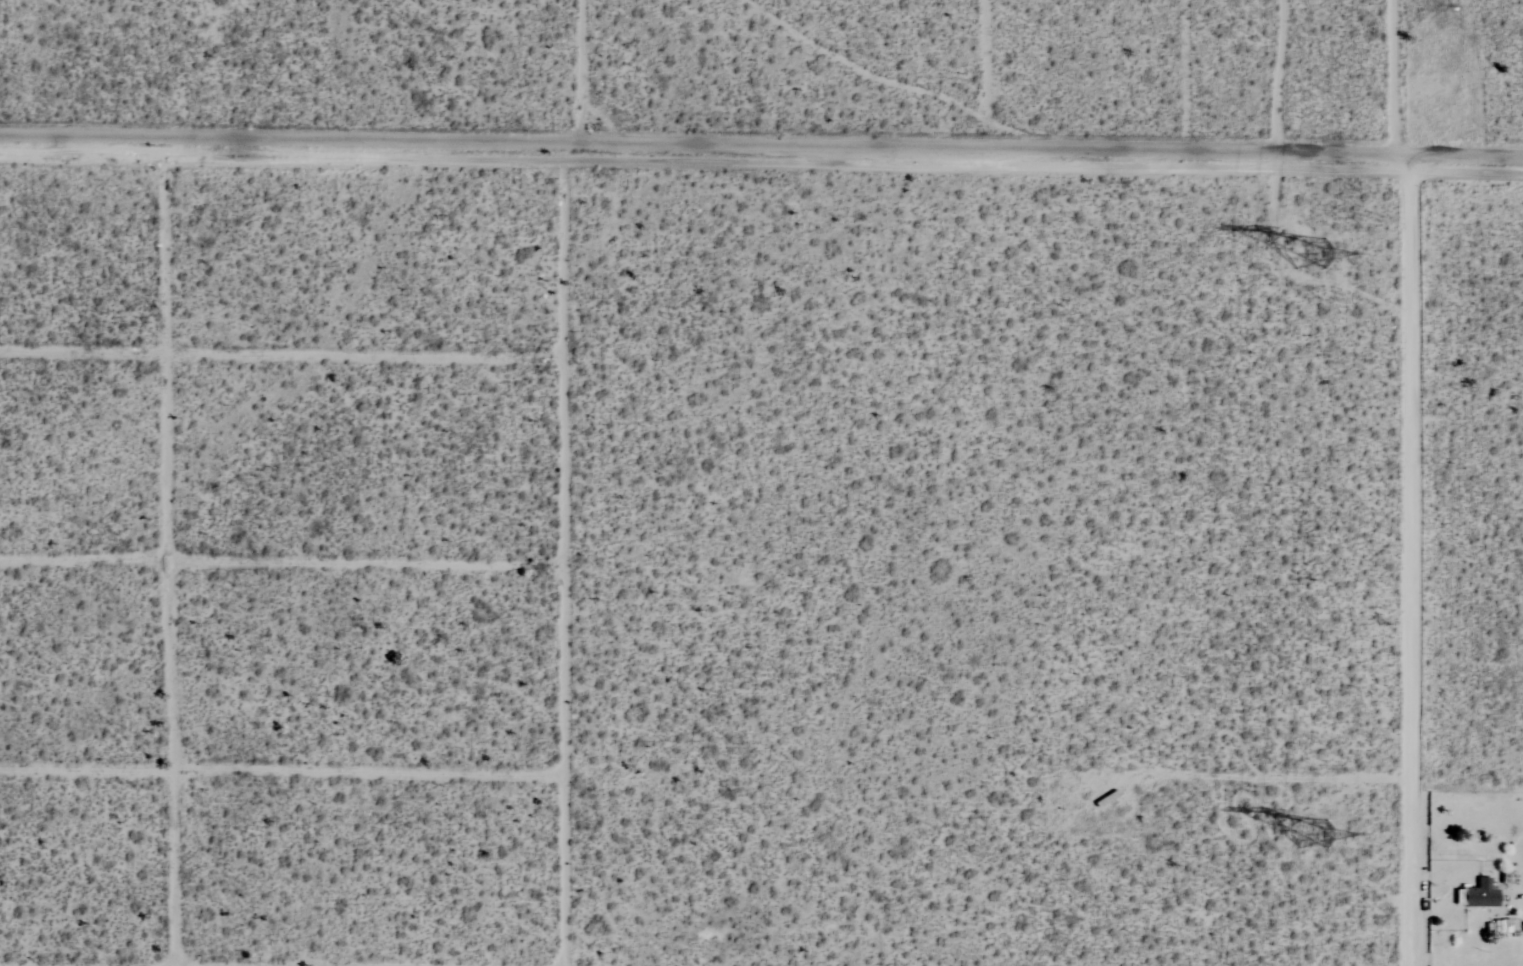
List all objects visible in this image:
road: (1271, 76)
road: (1049, 78)
road: (524, 141)
road: (1286, 153)
power tower: (1306, 254)
road: (282, 350)
road: (565, 478)
road: (1409, 482)
road: (169, 550)
road: (283, 557)
road: (283, 771)
power tower: (1311, 838)

